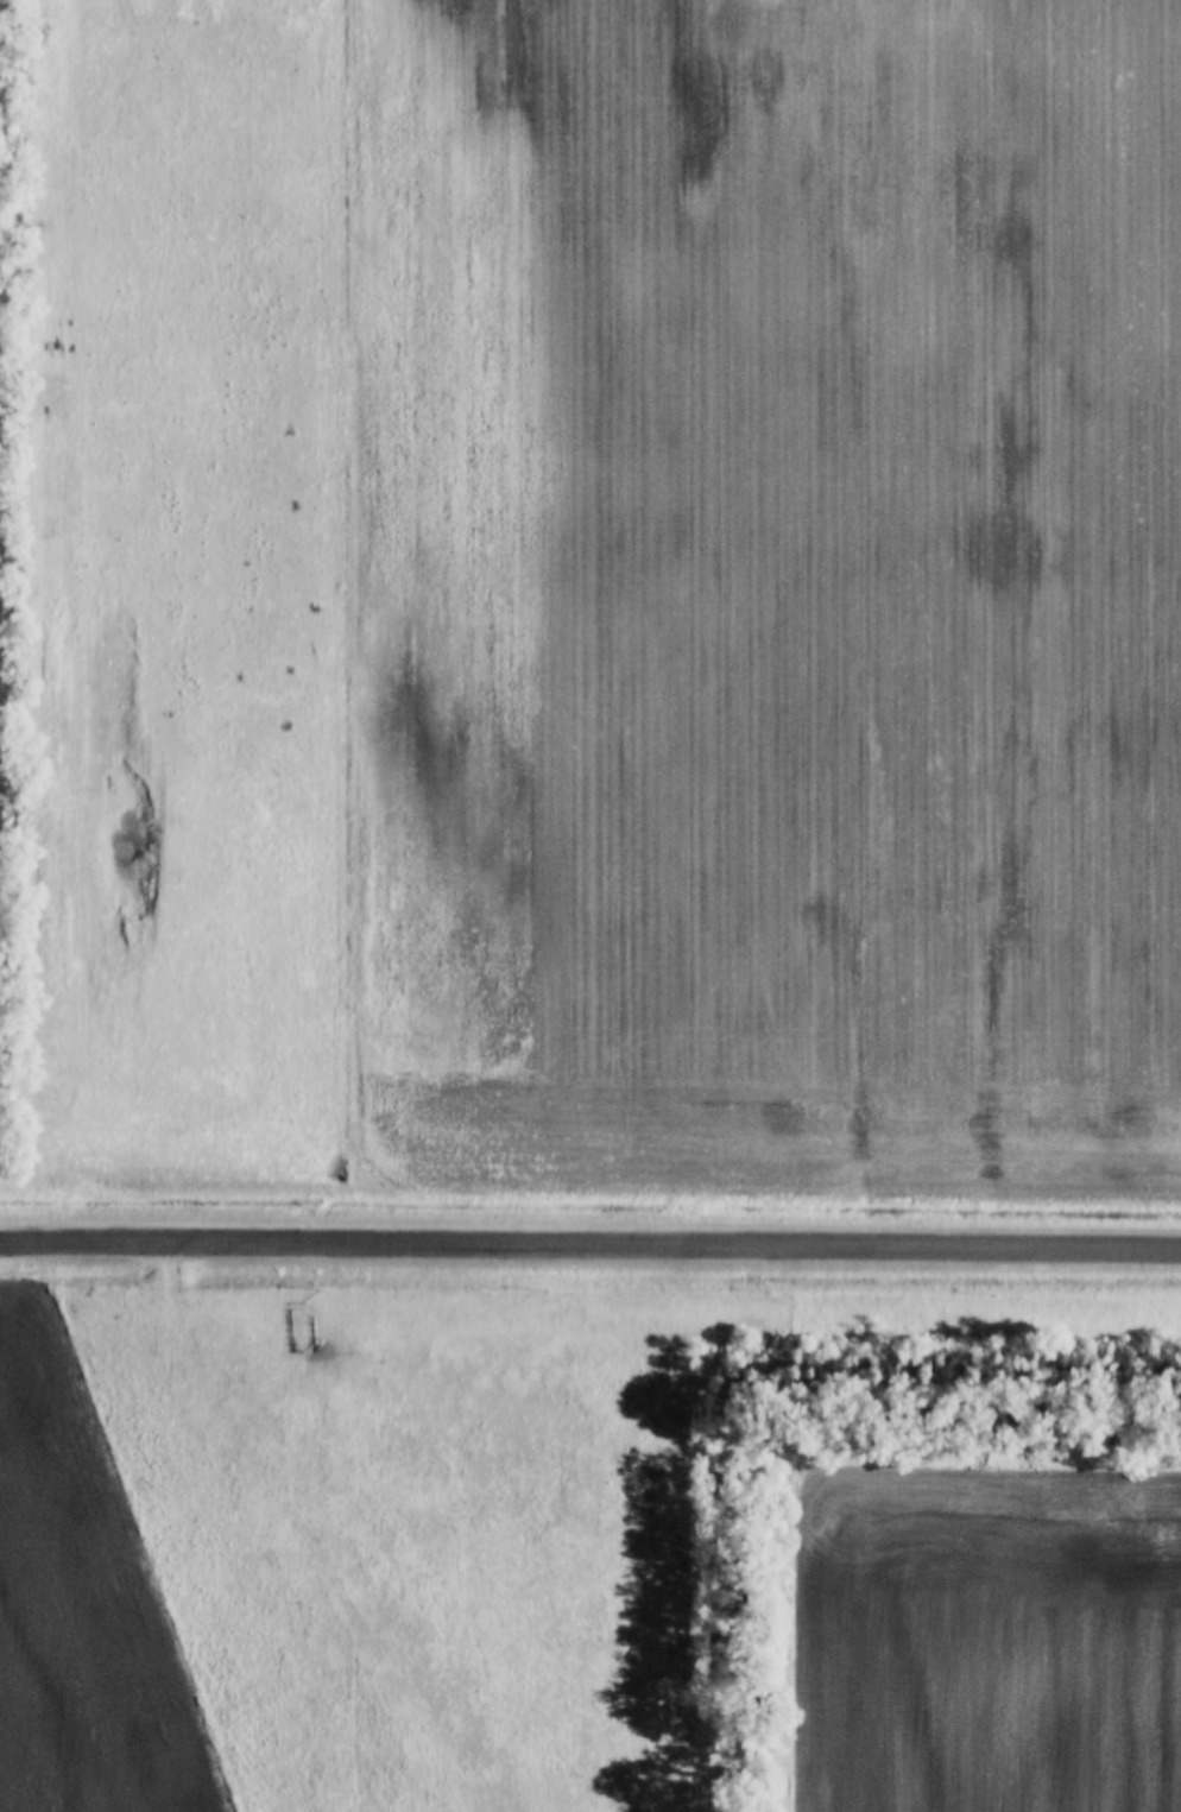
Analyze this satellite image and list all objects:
road: (590, 1240)

